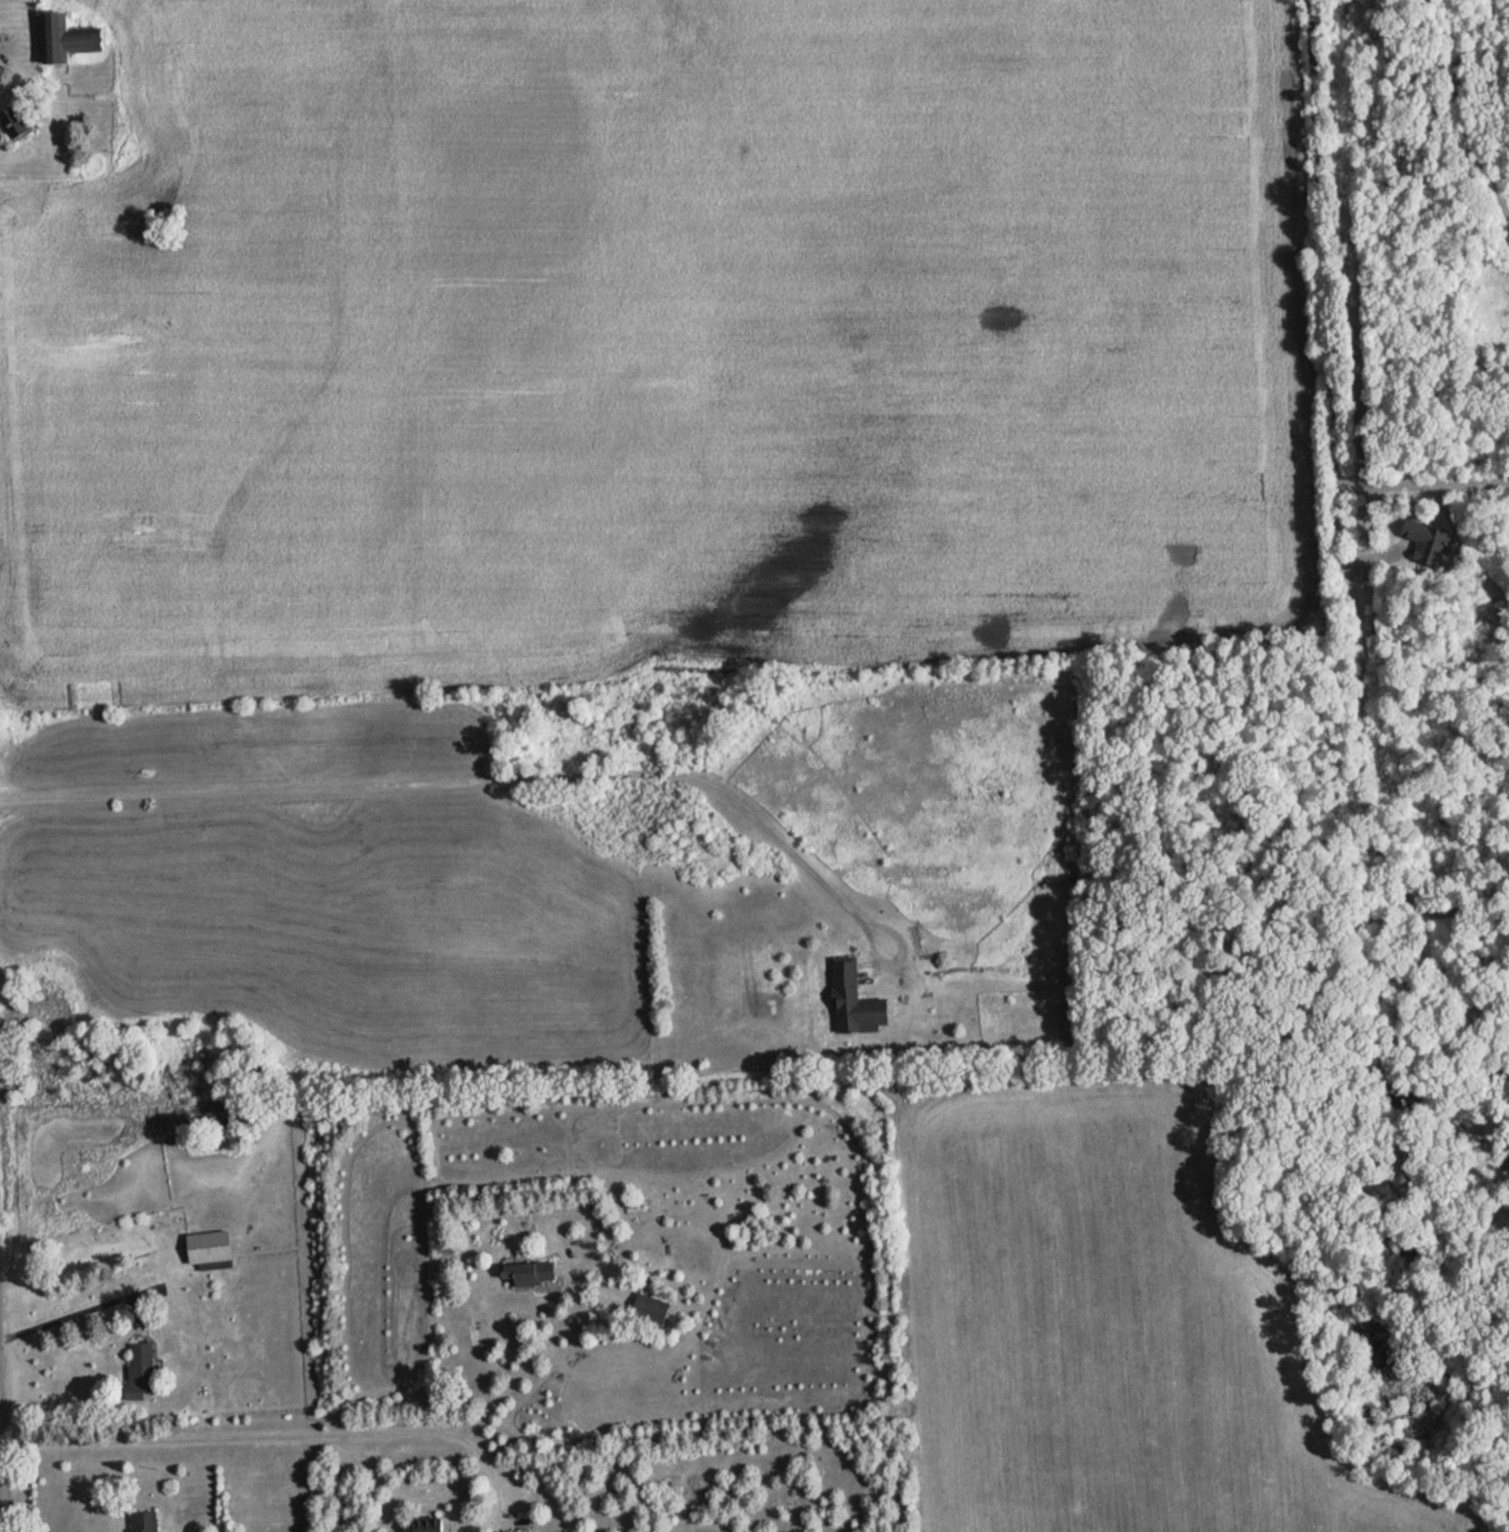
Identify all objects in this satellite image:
building: (73, 40)
building: (19, 122)
road: (1325, 321)
road: (1361, 735)
road: (463, 780)
building: (857, 999)
building: (212, 1246)
building: (535, 1271)
building: (652, 1308)
road: (67, 1318)
road: (534, 1358)
building: (142, 1370)
road: (229, 1440)
road: (1, 1487)
road: (425, 1504)
building: (147, 1521)
building: (430, 1526)

